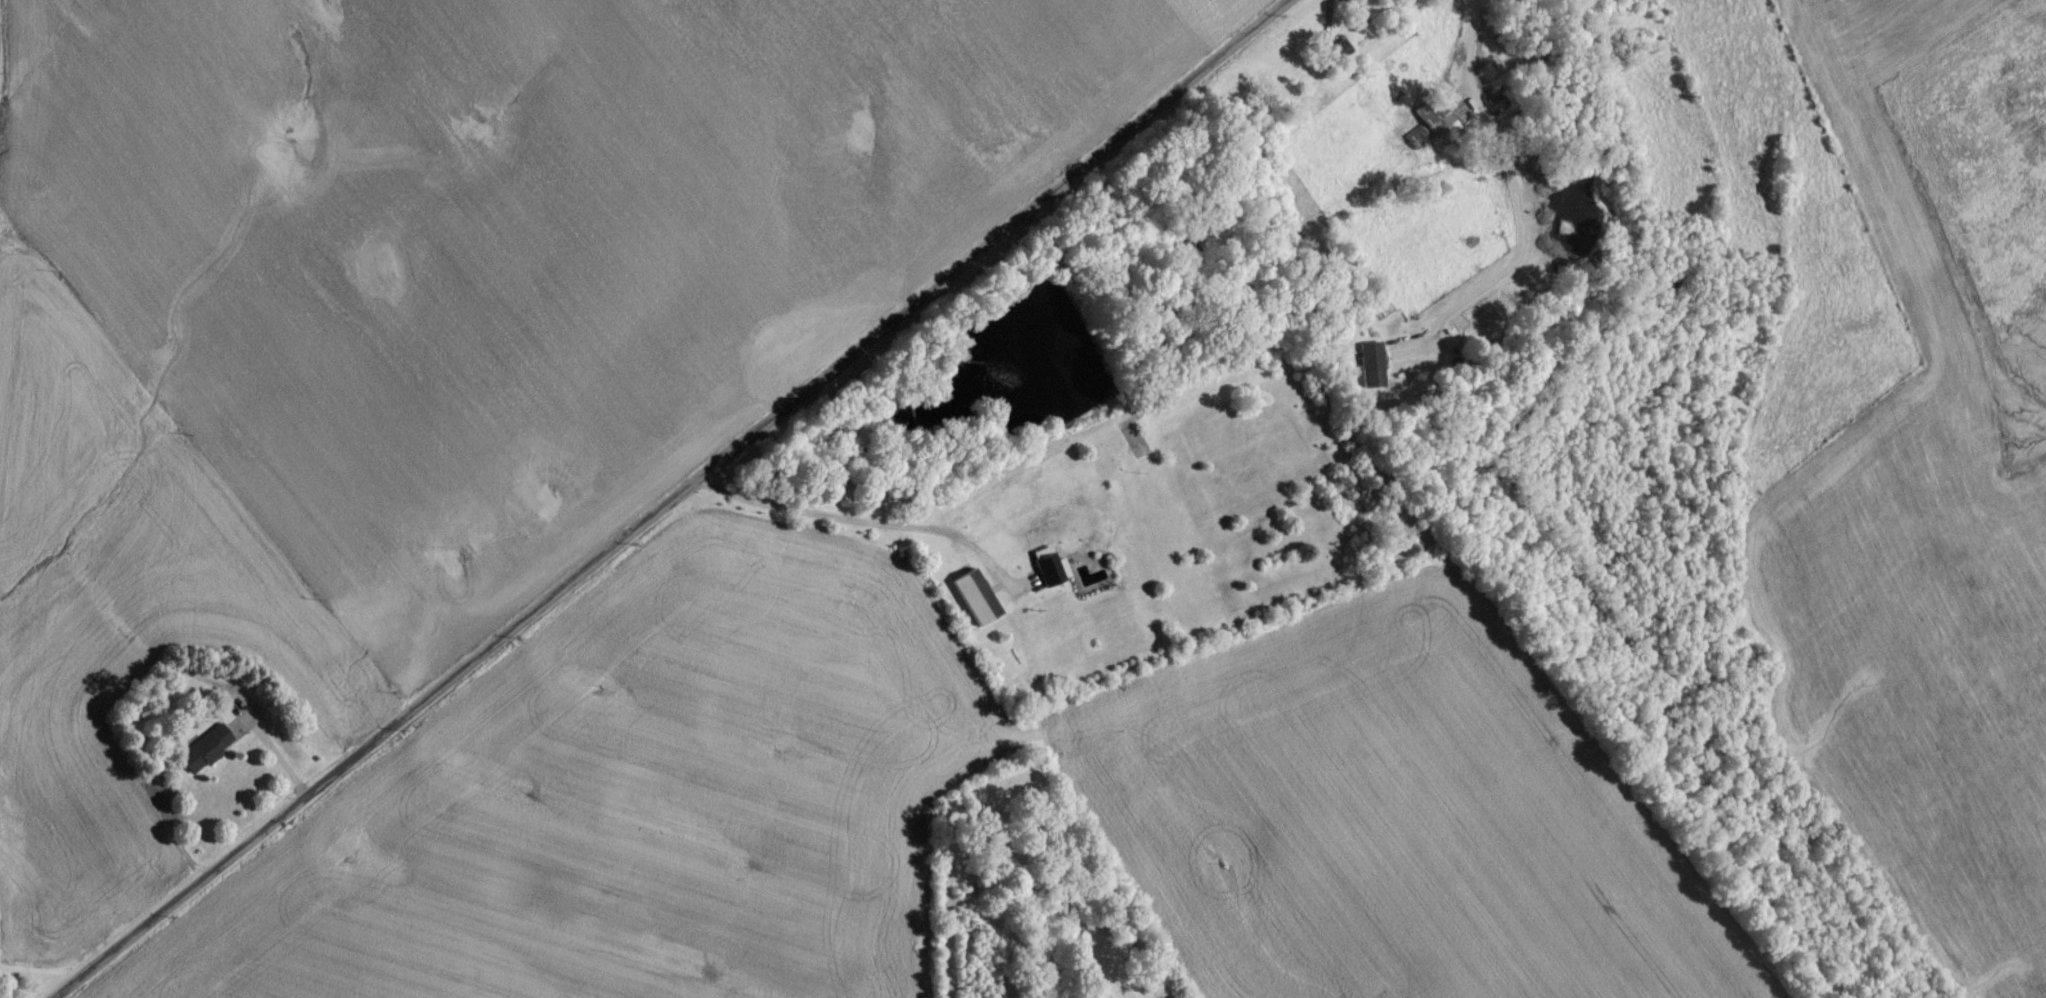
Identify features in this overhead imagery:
building: (1409, 2)
building: (1337, 57)
building: (1428, 128)
road: (772, 171)
road: (1516, 200)
road: (682, 498)
road: (868, 522)
building: (1051, 575)
building: (973, 604)
building: (203, 756)
road: (572, 781)

